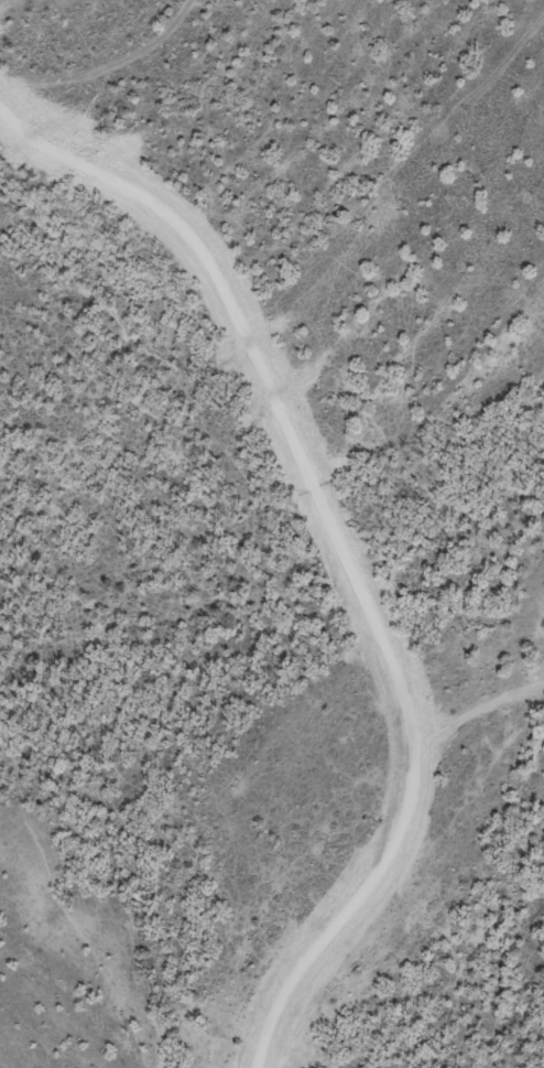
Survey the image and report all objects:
road: (271, 382)
road: (480, 709)
road: (344, 914)

